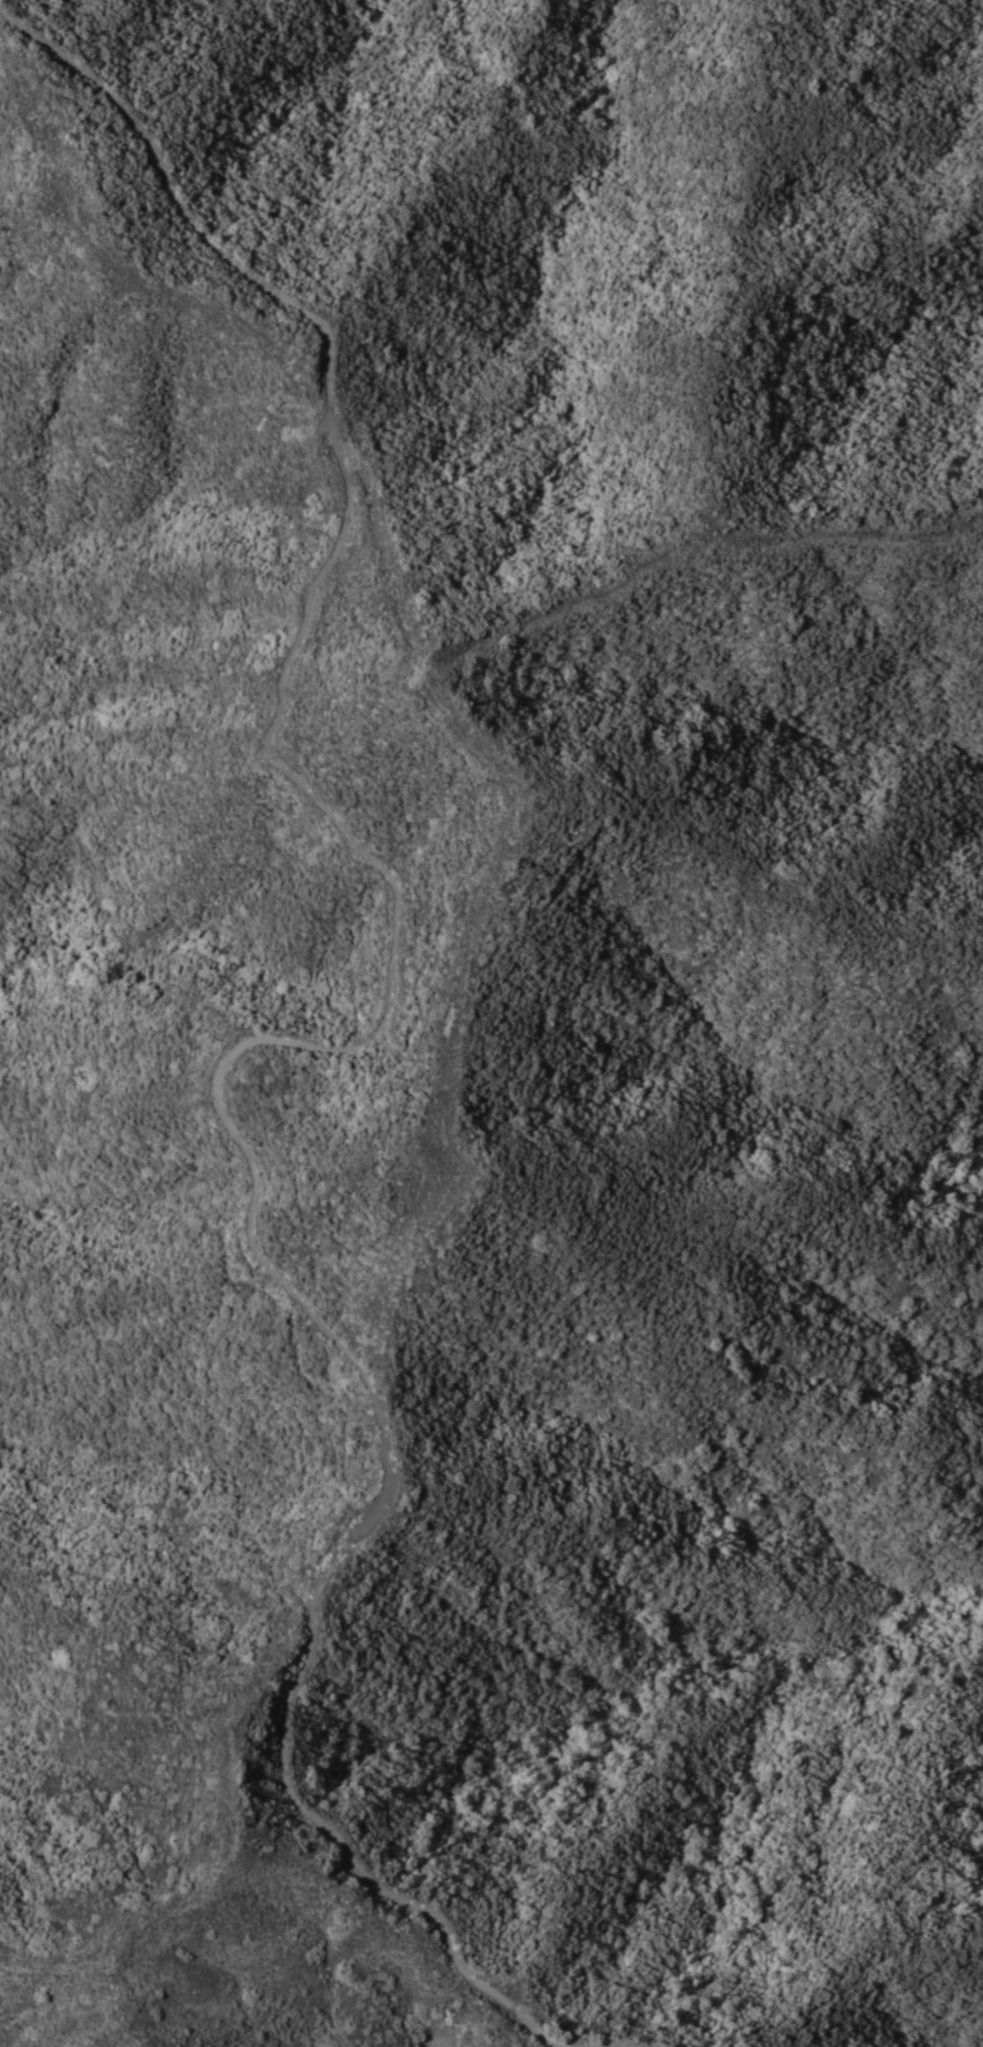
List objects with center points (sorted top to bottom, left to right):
road: (474, 888)
road: (281, 1037)

